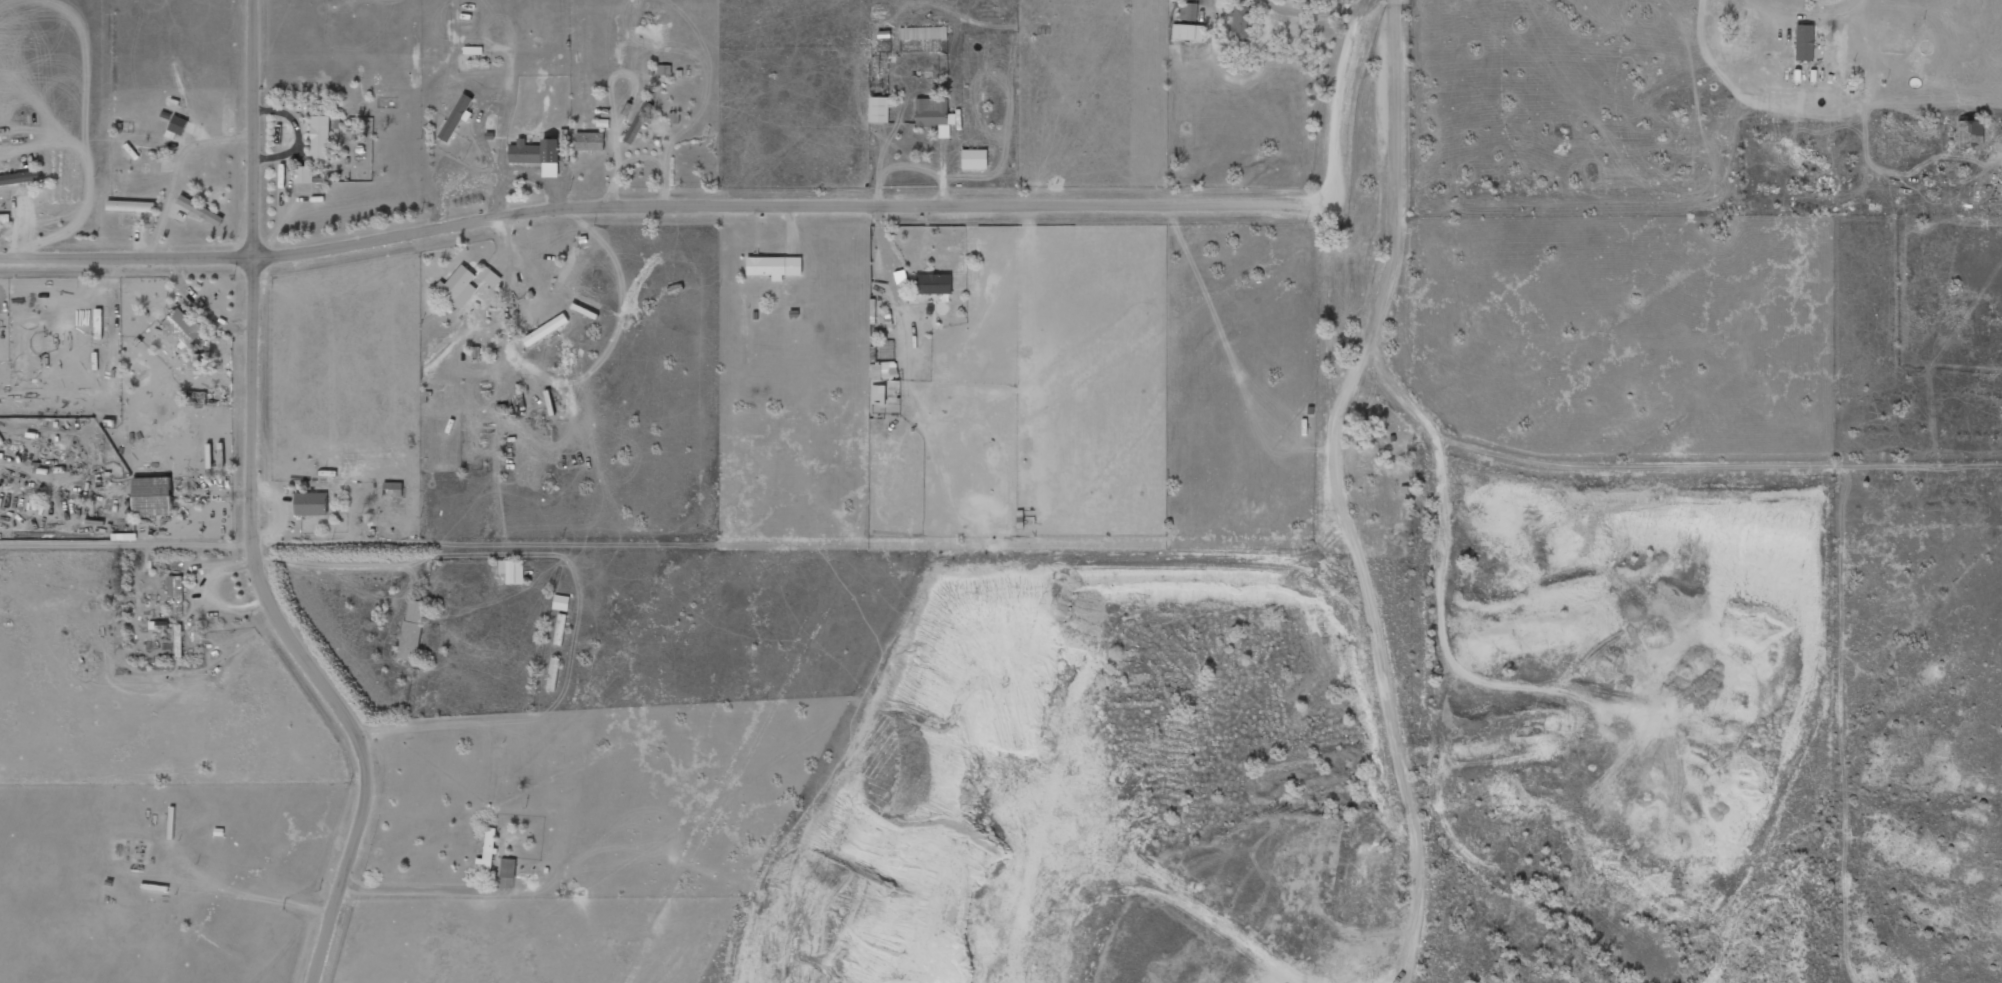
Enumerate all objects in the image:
building: (1189, 10)
building: (1243, 23)
building: (1188, 31)
building: (924, 33)
building: (1805, 42)
road: (1708, 56)
building: (664, 70)
road: (1347, 81)
building: (879, 110)
building: (934, 114)
building: (456, 116)
building: (639, 122)
building: (177, 126)
building: (1971, 135)
building: (320, 137)
building: (590, 141)
building: (535, 151)
building: (975, 159)
building: (304, 174)
building: (19, 177)
road: (675, 204)
building: (131, 206)
building: (200, 210)
building: (774, 266)
building: (566, 269)
building: (490, 277)
building: (933, 283)
building: (458, 285)
building: (183, 327)
building: (545, 330)
building: (195, 362)
building: (883, 370)
building: (879, 394)
road: (1332, 491)
building: (151, 496)
building: (311, 503)
road: (247, 512)
road: (123, 542)
road: (330, 563)
building: (512, 571)
building: (175, 595)
building: (561, 603)
building: (412, 630)
building: (560, 630)
building: (553, 674)
building: (488, 852)
building: (508, 868)

